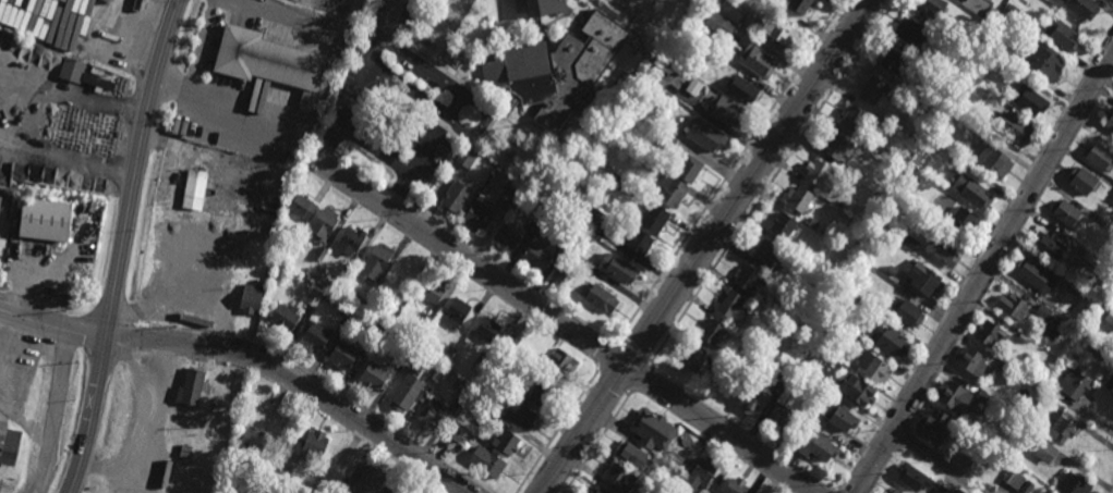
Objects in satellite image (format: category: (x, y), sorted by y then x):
building: (800, 5)
building: (933, 7)
building: (546, 8)
building: (976, 8)
building: (1082, 8)
building: (734, 10)
building: (1013, 10)
road: (286, 13)
building: (73, 23)
building: (698, 24)
building: (719, 24)
building: (778, 29)
building: (914, 33)
building: (953, 33)
building: (1064, 35)
road: (201, 45)
building: (267, 59)
building: (888, 60)
building: (356, 61)
building: (758, 61)
building: (1044, 61)
building: (940, 69)
building: (72, 70)
building: (564, 70)
building: (98, 81)
road: (356, 81)
building: (693, 86)
building: (649, 88)
building: (742, 88)
building: (870, 89)
building: (928, 100)
building: (1029, 100)
road: (223, 107)
building: (723, 108)
road: (485, 120)
building: (855, 120)
building: (1110, 120)
road: (59, 123)
building: (898, 125)
building: (1013, 127)
building: (705, 134)
building: (667, 140)
road: (187, 146)
building: (837, 146)
building: (1098, 156)
building: (467, 159)
building: (921, 160)
building: (993, 160)
road: (400, 164)
building: (688, 168)
building: (847, 169)
road: (731, 171)
building: (820, 174)
building: (1084, 177)
building: (617, 182)
road: (772, 182)
building: (196, 184)
road: (399, 188)
building: (672, 189)
building: (972, 189)
building: (509, 192)
building: (561, 193)
building: (456, 198)
building: (799, 198)
building: (0, 201)
building: (302, 207)
building: (541, 211)
building: (1067, 211)
building: (930, 212)
building: (477, 217)
building: (963, 218)
building: (46, 219)
building: (654, 219)
building: (813, 222)
building: (324, 223)
building: (783, 225)
building: (274, 227)
building: (613, 229)
building: (509, 233)
building: (566, 233)
building: (892, 241)
building: (910, 241)
building: (351, 242)
building: (1050, 244)
road: (122, 246)
road: (704, 246)
building: (942, 247)
building: (574, 250)
building: (764, 251)
building: (537, 254)
building: (871, 255)
building: (317, 257)
building: (1092, 257)
building: (376, 262)
building: (617, 267)
building: (1033, 269)
building: (560, 270)
building: (420, 273)
road: (984, 273)
building: (343, 275)
building: (748, 276)
building: (924, 276)
building: (1074, 286)
building: (432, 288)
building: (314, 296)
building: (251, 297)
building: (601, 297)
building: (846, 297)
road: (174, 298)
building: (358, 299)
building: (1013, 304)
building: (733, 305)
building: (775, 305)
building: (395, 309)
building: (457, 310)
building: (906, 310)
building: (1045, 310)
building: (360, 311)
building: (1110, 315)
building: (286, 316)
road: (52, 319)
building: (1058, 320)
building: (421, 321)
road: (574, 325)
building: (487, 329)
building: (711, 331)
building: (990, 331)
building: (316, 335)
building: (1024, 338)
building: (892, 340)
building: (511, 343)
building: (1097, 348)
building: (406, 349)
building: (450, 349)
building: (343, 354)
road: (607, 355)
building: (693, 359)
building: (562, 360)
building: (973, 360)
building: (481, 361)
building: (872, 365)
building: (1004, 366)
building: (718, 369)
building: (435, 372)
building: (781, 372)
building: (374, 375)
road: (640, 378)
road: (301, 379)
building: (1110, 382)
building: (1072, 384)
building: (192, 386)
building: (857, 387)
building: (464, 390)
building: (407, 392)
building: (537, 393)
building: (955, 395)
building: (984, 396)
building: (753, 400)
building: (256, 405)
building: (237, 407)
road: (52, 409)
building: (432, 412)
building: (840, 416)
building: (487, 417)
building: (520, 417)
building: (811, 417)
building: (779, 418)
building: (934, 423)
building: (1061, 424)
building: (653, 429)
building: (453, 432)
building: (254, 439)
building: (9, 442)
building: (506, 442)
building: (314, 444)
building: (818, 445)
building: (1045, 449)
building: (631, 457)
building: (674, 458)
road: (939, 461)
building: (492, 464)
building: (278, 472)
building: (700, 473)
building: (914, 476)
building: (620, 477)
building: (1014, 477)
building: (370, 479)
building: (1076, 483)
building: (672, 485)
building: (736, 485)
building: (402, 489)
building: (893, 490)
building: (943, 490)
building: (340, 491)
building: (600, 491)

